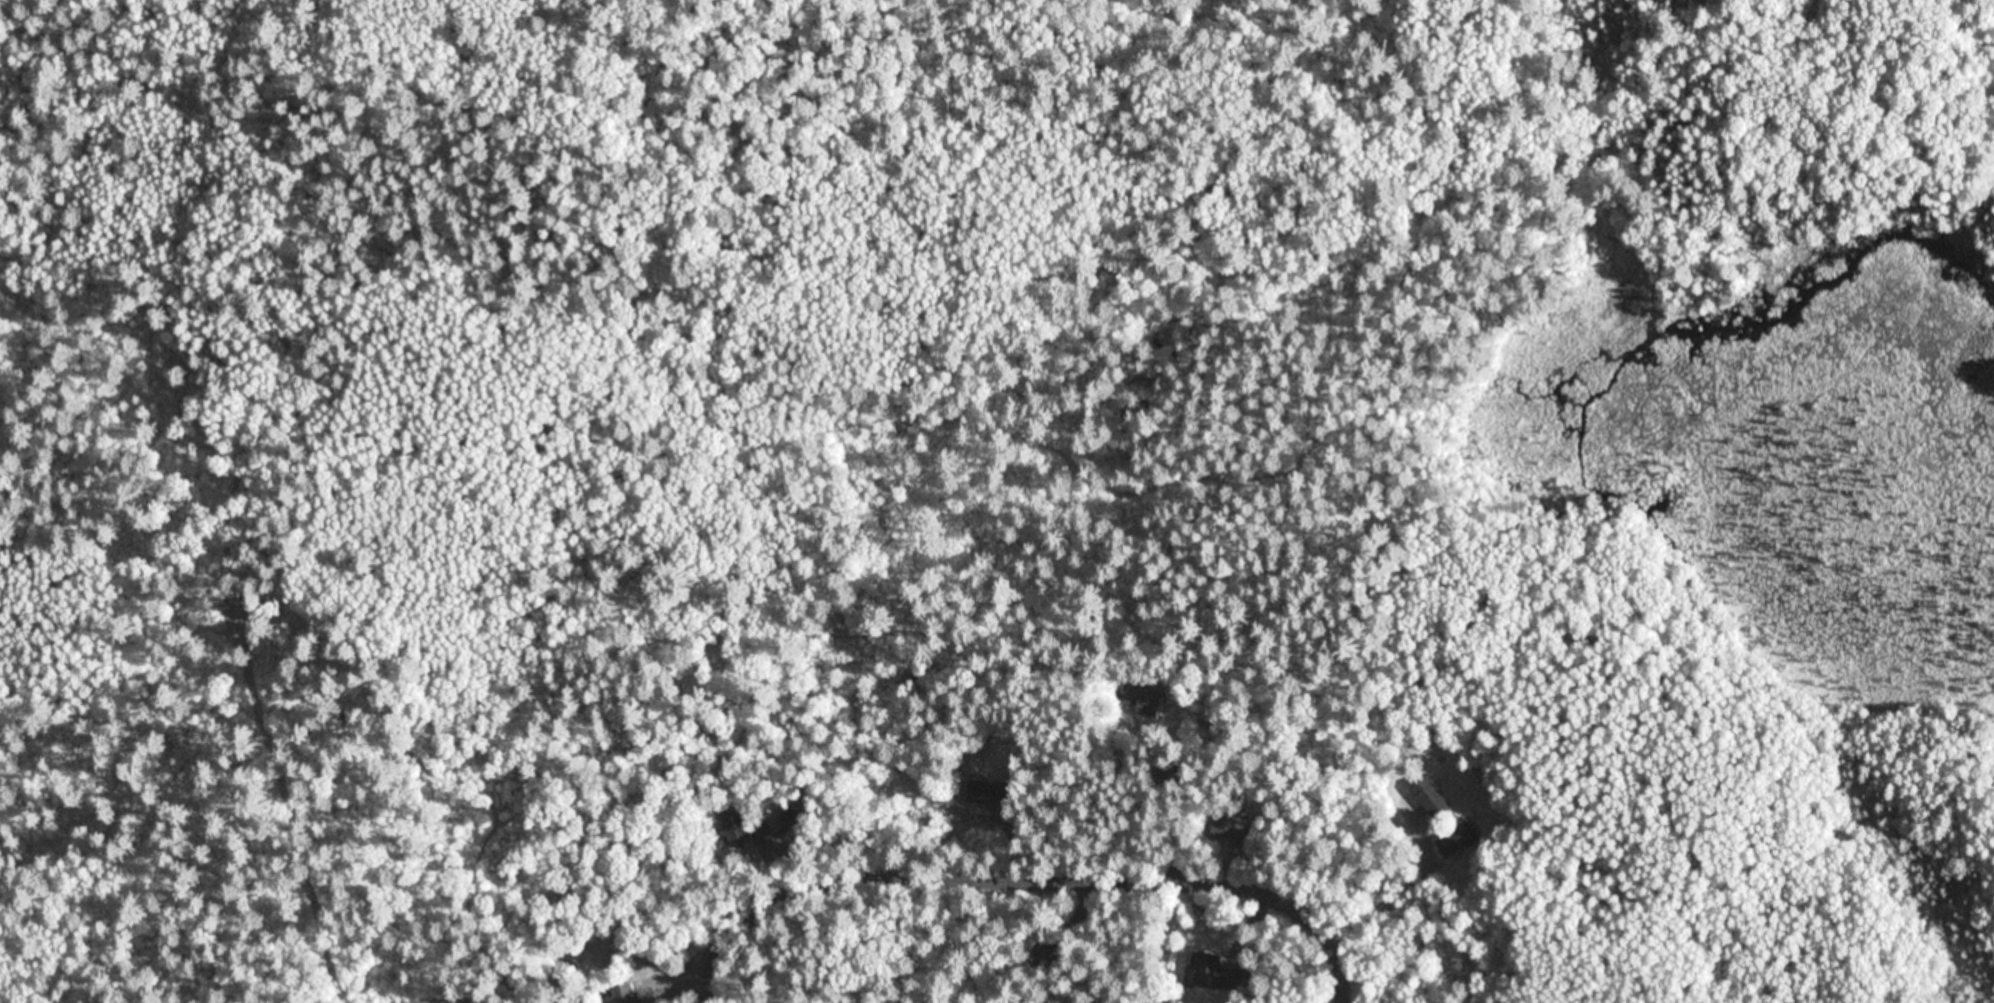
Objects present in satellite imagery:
building: (1142, 694)
building: (1448, 728)
building: (989, 791)
building: (1435, 804)
building: (730, 826)
building: (1228, 827)
building: (749, 833)
building: (762, 833)
building: (1456, 841)
road: (1033, 877)
building: (1044, 954)
building: (1219, 970)
road: (710, 980)
road: (1342, 988)
building: (623, 994)
building: (1081, 1002)

